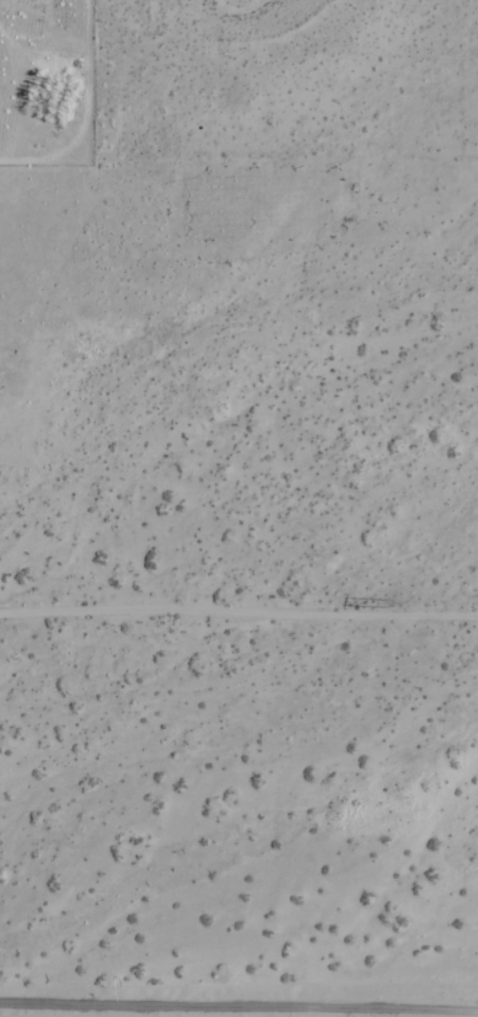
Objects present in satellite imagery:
power tower: (395, 603)
road: (239, 611)
road: (239, 992)

